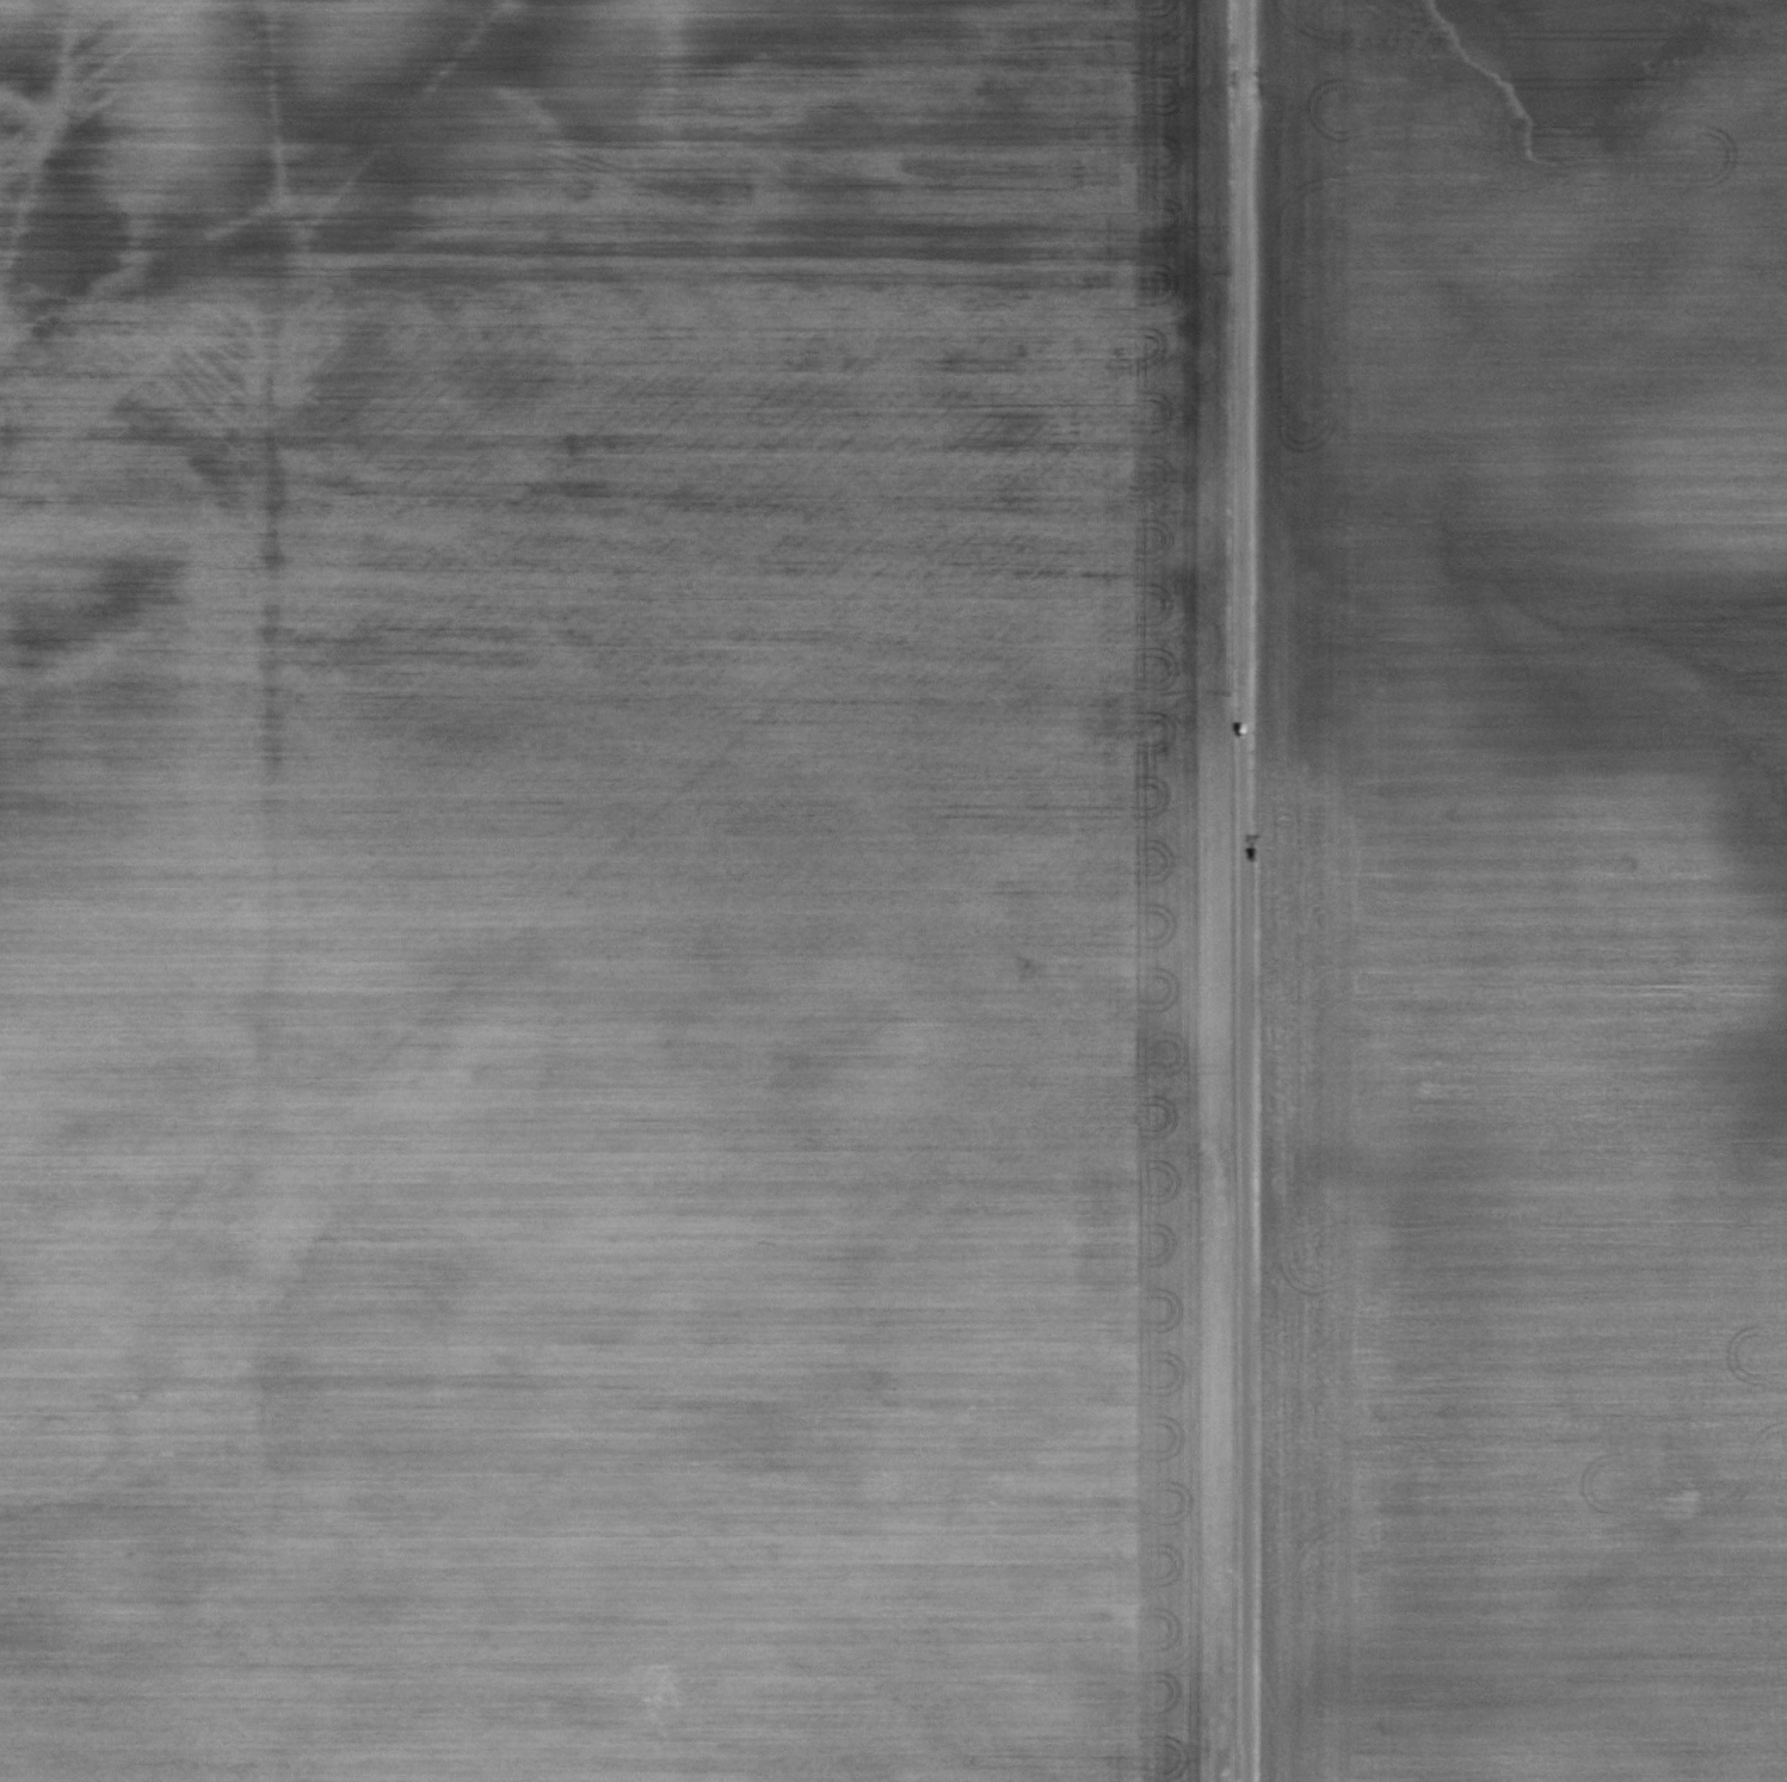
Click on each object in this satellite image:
road: (1231, 890)

